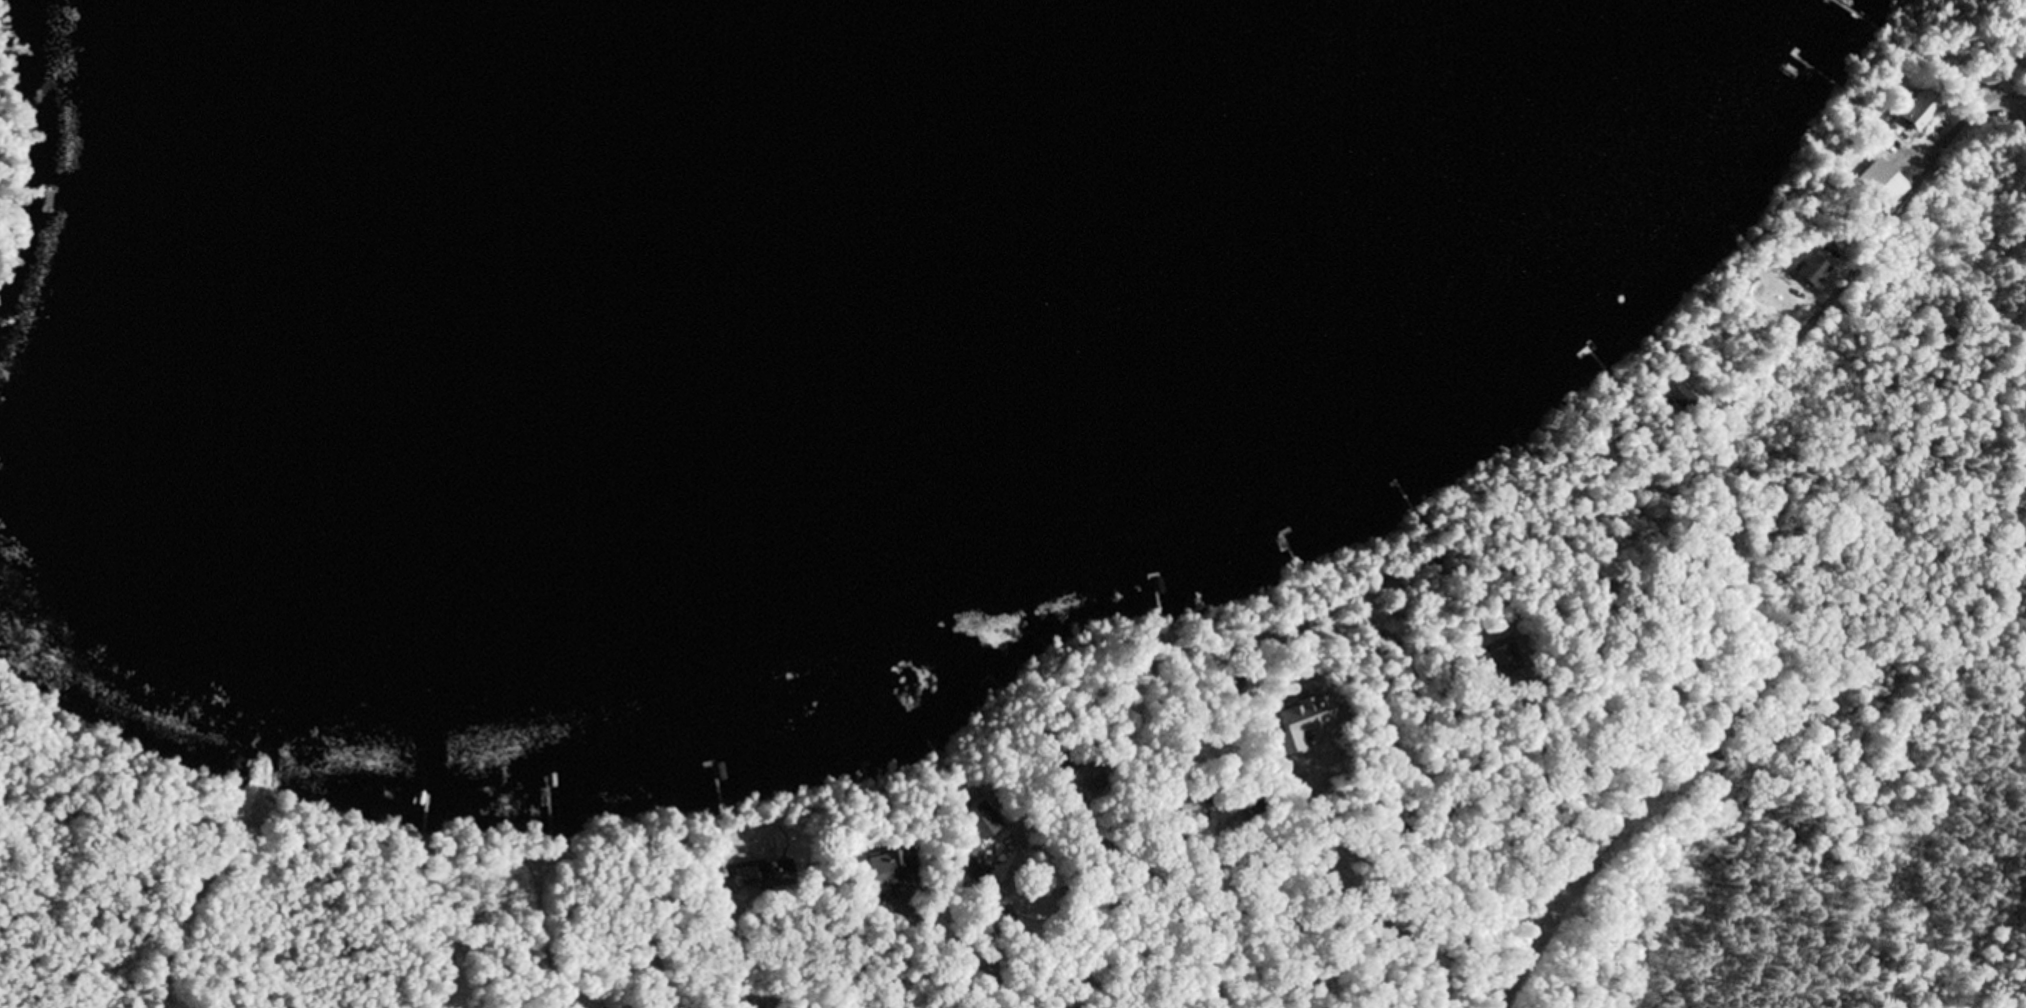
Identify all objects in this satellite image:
building: (1909, 112)
building: (1878, 185)
building: (1807, 272)
building: (1676, 396)
building: (976, 819)
building: (873, 856)
building: (967, 864)
building: (760, 875)
road: (217, 916)
road: (1550, 920)
road: (315, 971)

